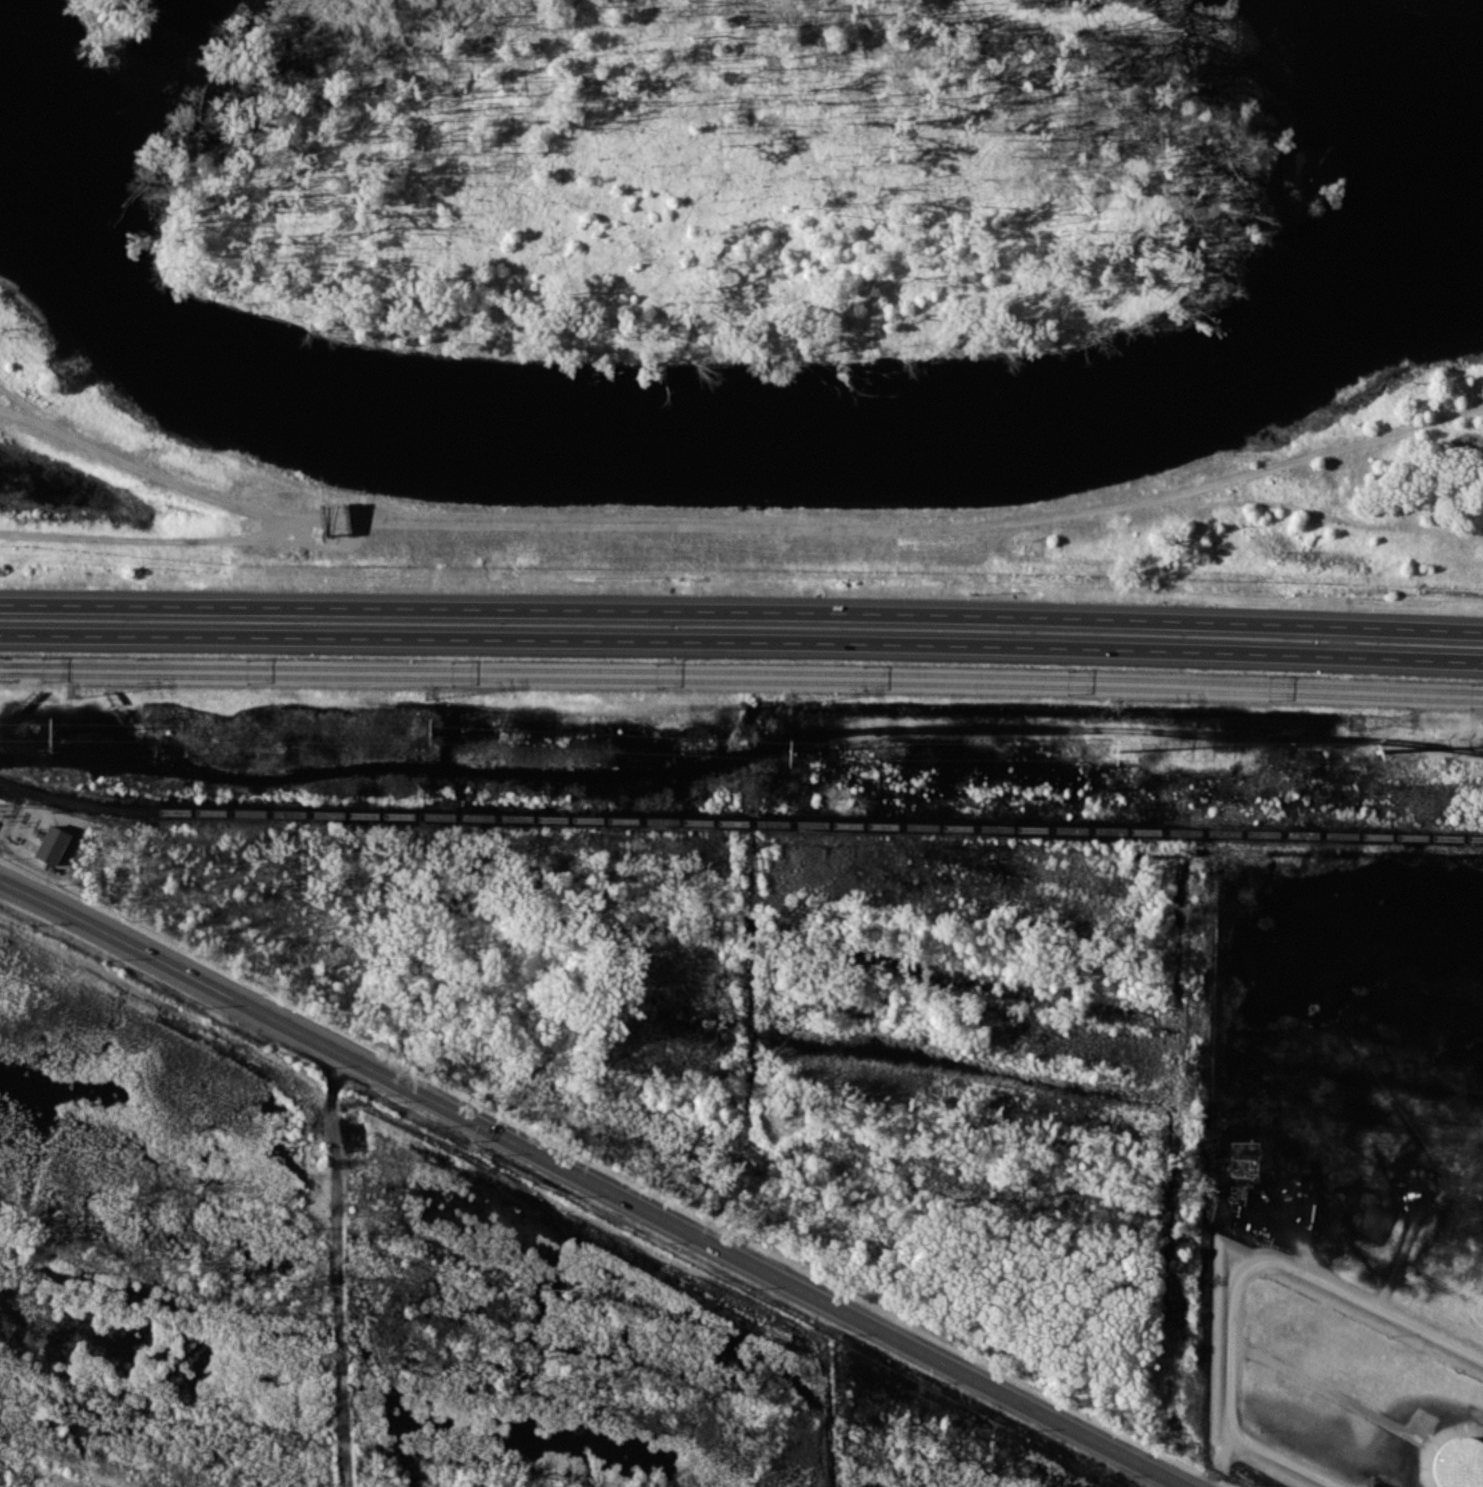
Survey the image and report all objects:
road: (14, 413)
railway: (58, 427)
road: (136, 465)
river: (717, 469)
railway: (806, 517)
road: (190, 540)
road: (926, 556)
road: (741, 610)
road: (741, 640)
railway: (741, 672)
railway: (741, 685)
power tower: (53, 731)
power tower: (429, 732)
power tower: (788, 747)
power tower: (1115, 748)
power tower: (1377, 749)
railway: (739, 821)
building: (52, 844)
road: (592, 1181)
road: (1379, 1315)
building: (1458, 1462)

